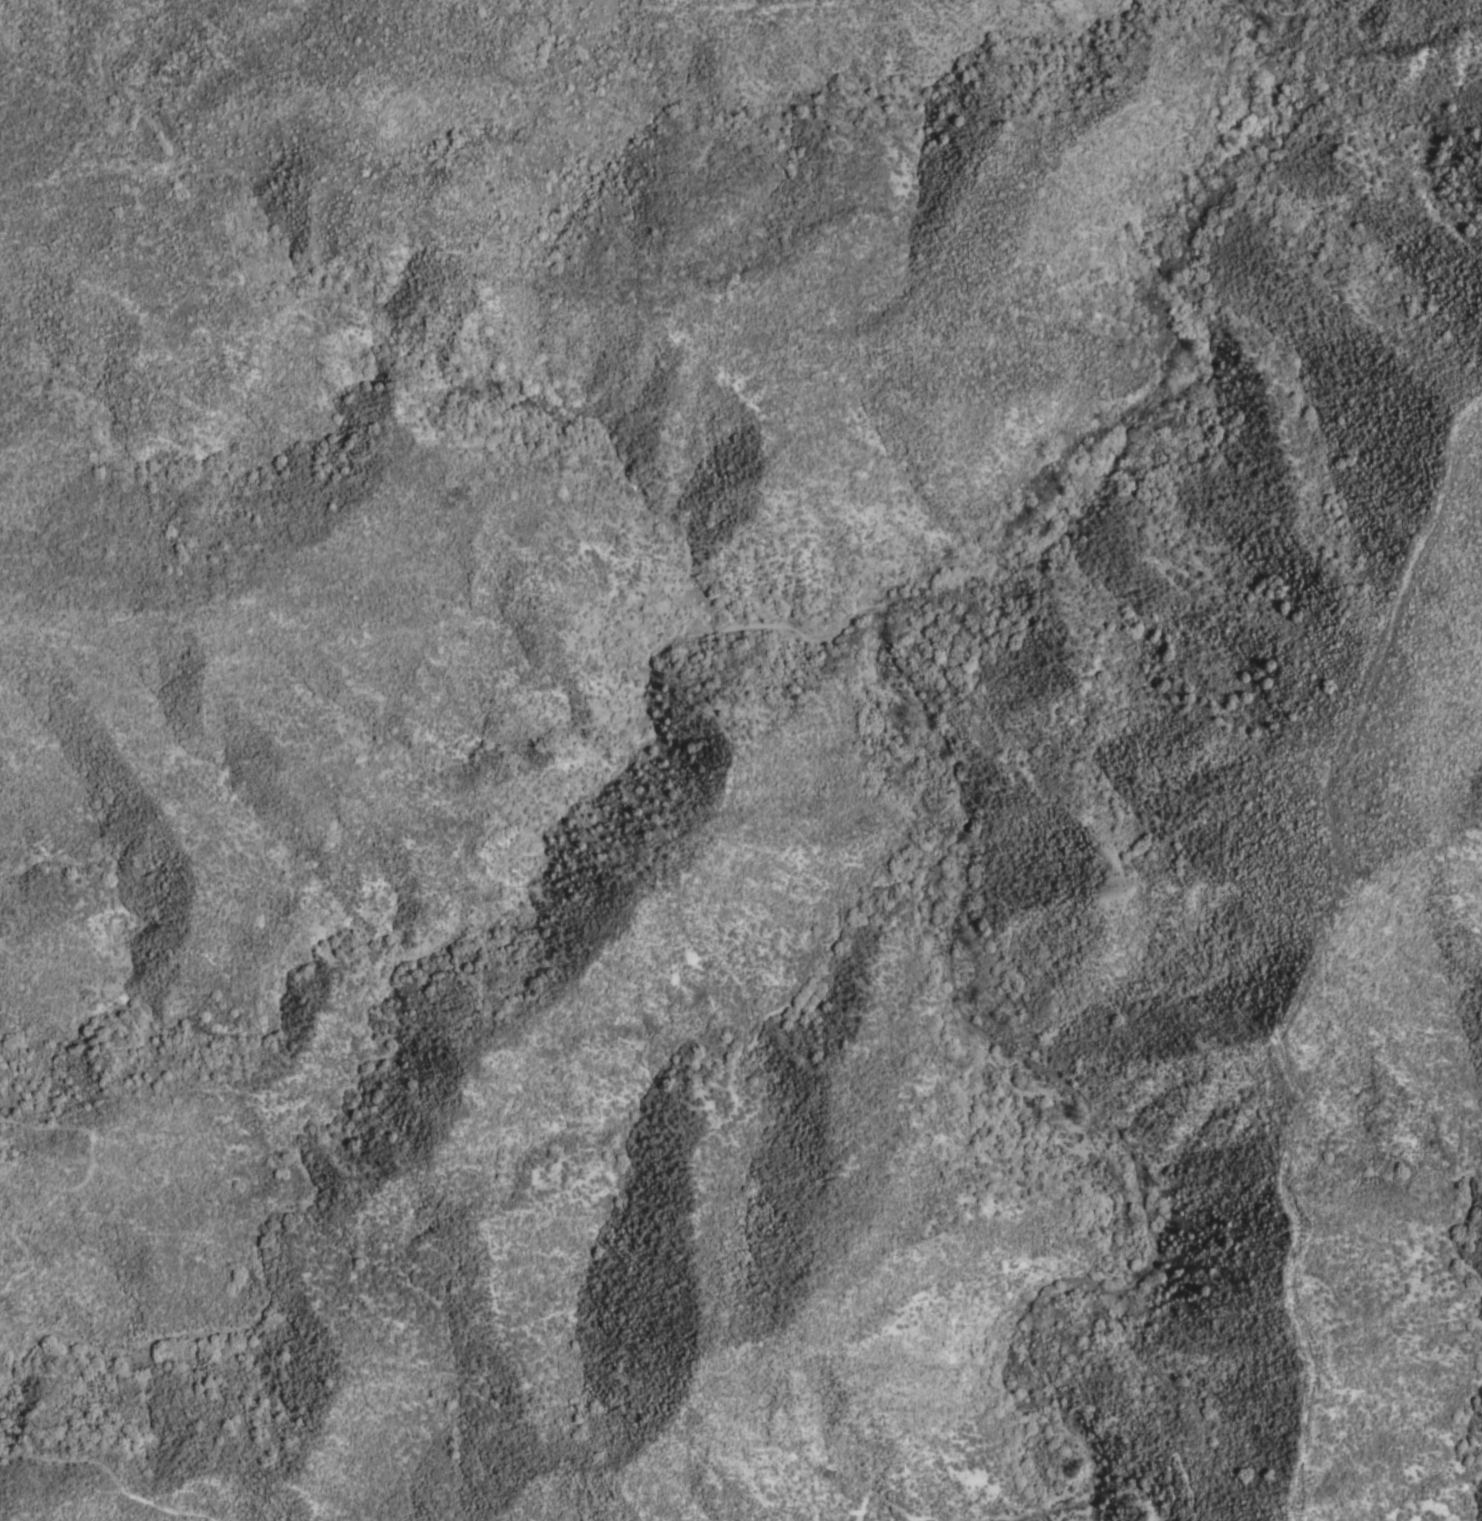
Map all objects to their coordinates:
road: (74, 1180)
road: (1162, 1453)
road: (116, 1476)
road: (886, 1501)

